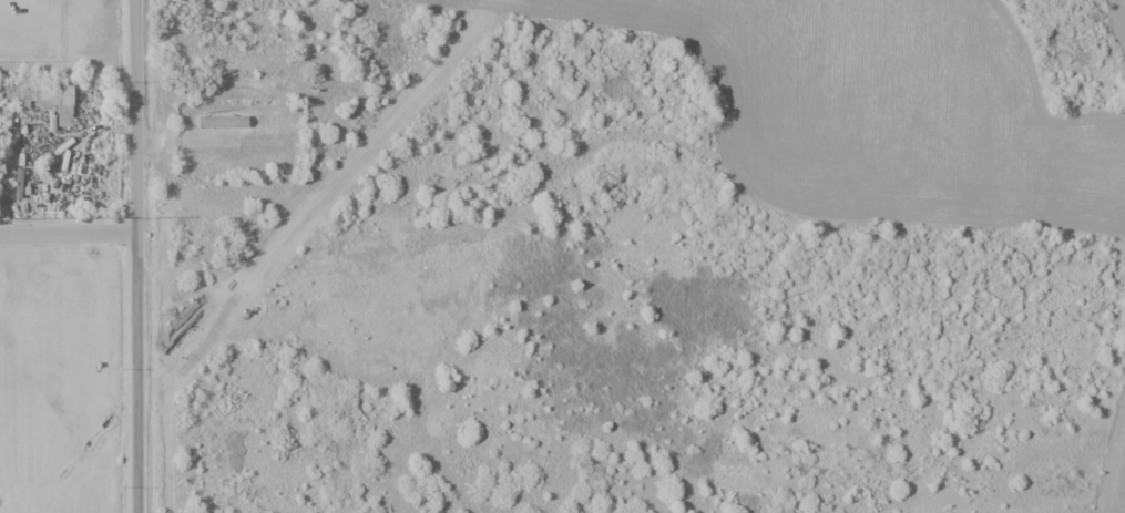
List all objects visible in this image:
crop: (906, 98)
building: (222, 121)
road: (69, 236)
road: (137, 256)
crop: (1114, 479)

